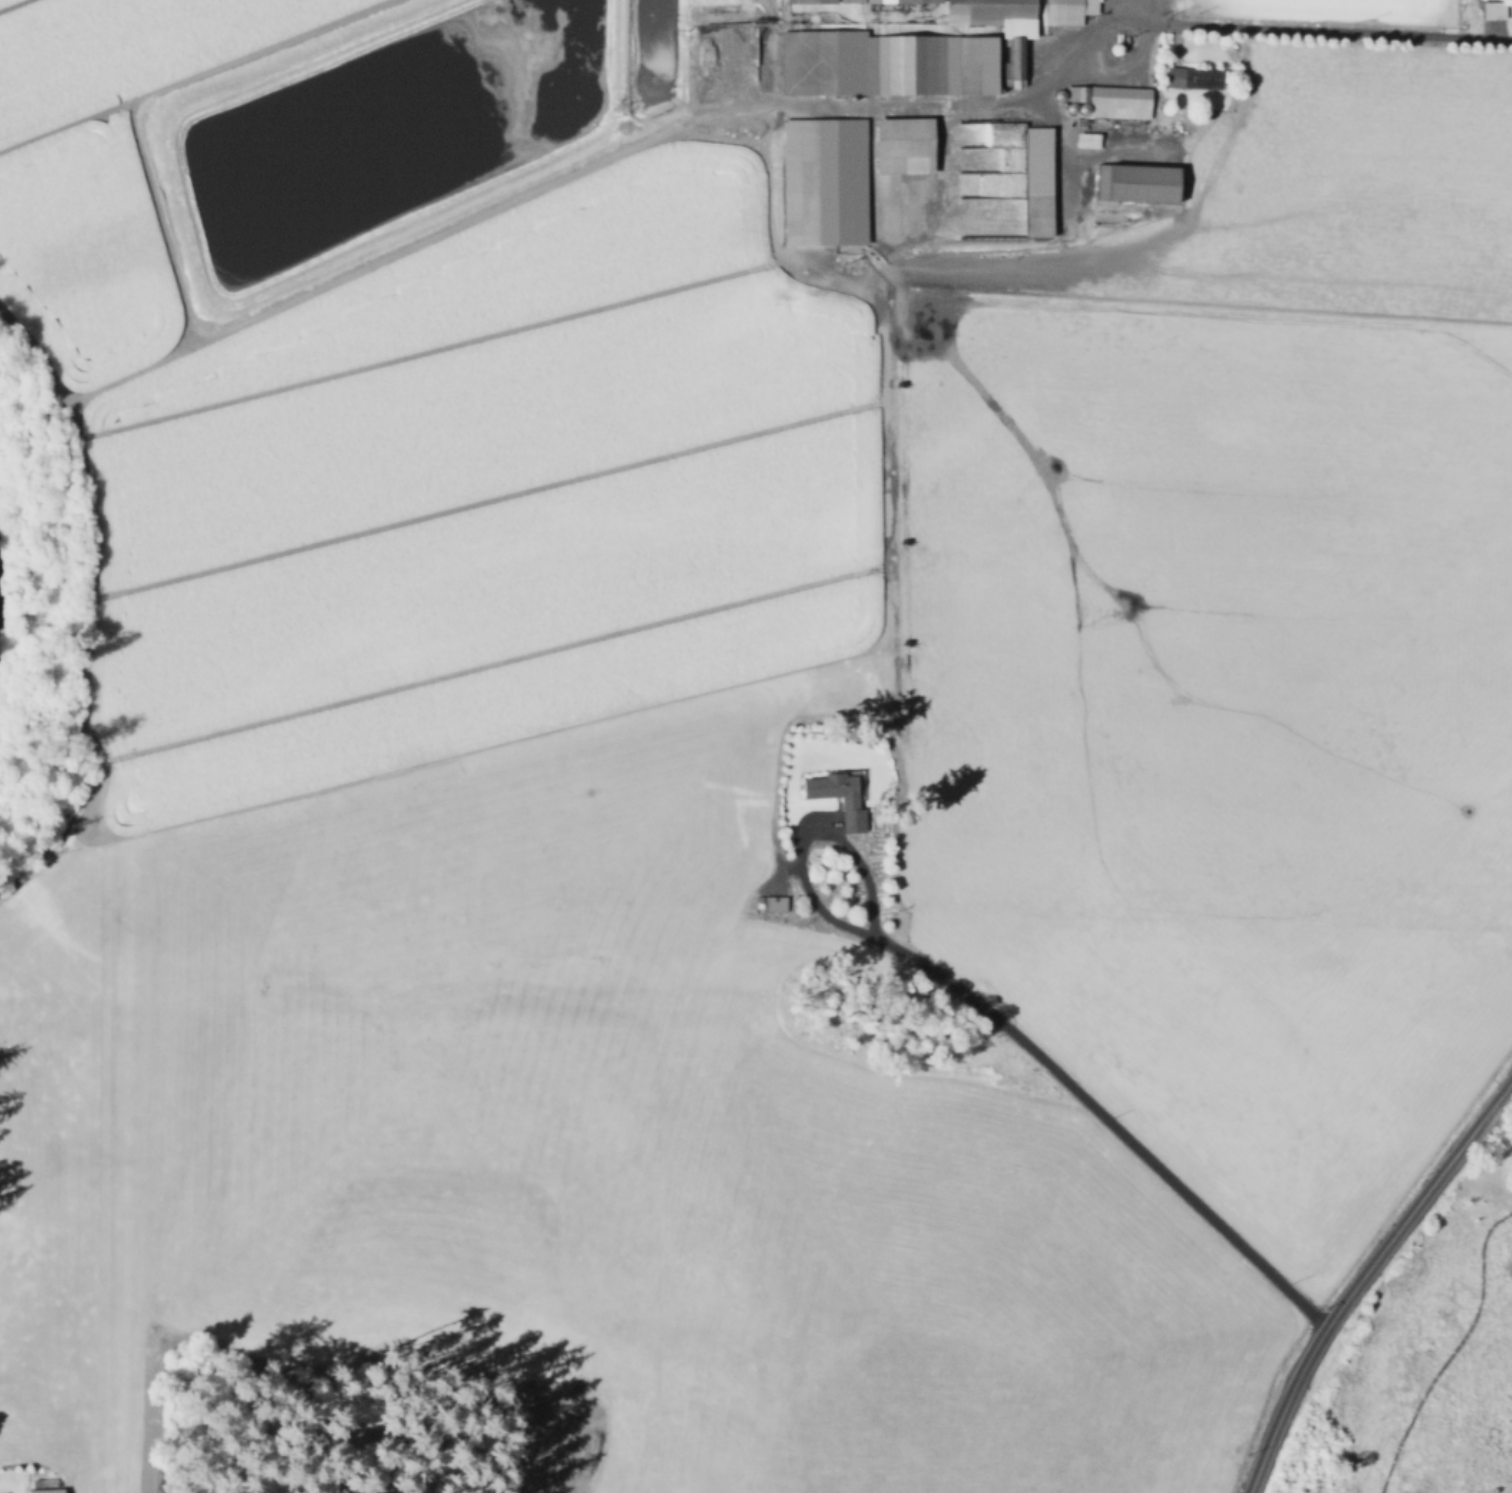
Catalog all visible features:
building: (812, 0)
building: (903, 0)
crop: (1330, 5)
building: (1492, 9)
building: (1069, 11)
road: (1107, 11)
building: (995, 14)
road: (1310, 29)
building: (1018, 58)
building: (885, 63)
building: (1203, 77)
building: (1059, 97)
silo: (1059, 97)
building: (1113, 100)
building: (1064, 106)
silo: (1064, 106)
road: (907, 107)
building: (1072, 110)
silo: (1072, 110)
building: (1084, 110)
silo: (1084, 110)
building: (1088, 140)
building: (904, 145)
road: (1065, 163)
road: (941, 172)
building: (825, 181)
building: (1039, 181)
building: (1138, 183)
road: (202, 317)
crop: (421, 448)
road: (882, 470)
crop: (1237, 633)
building: (850, 803)
building: (776, 903)
road: (997, 1024)
road: (1361, 1275)
park: (1428, 1365)
building: (43, 1490)
building: (3, 1492)

